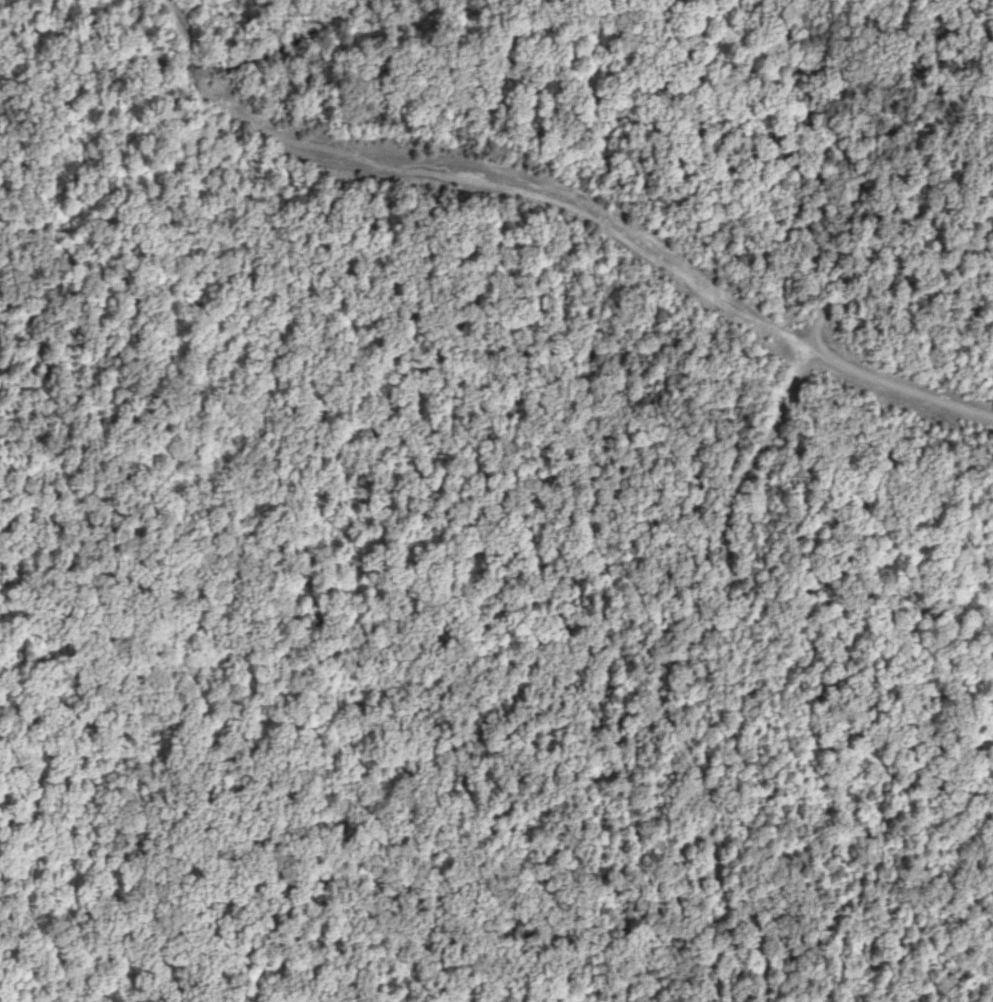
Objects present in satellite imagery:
road: (472, 171)
road: (898, 255)
road: (900, 386)
road: (717, 663)

